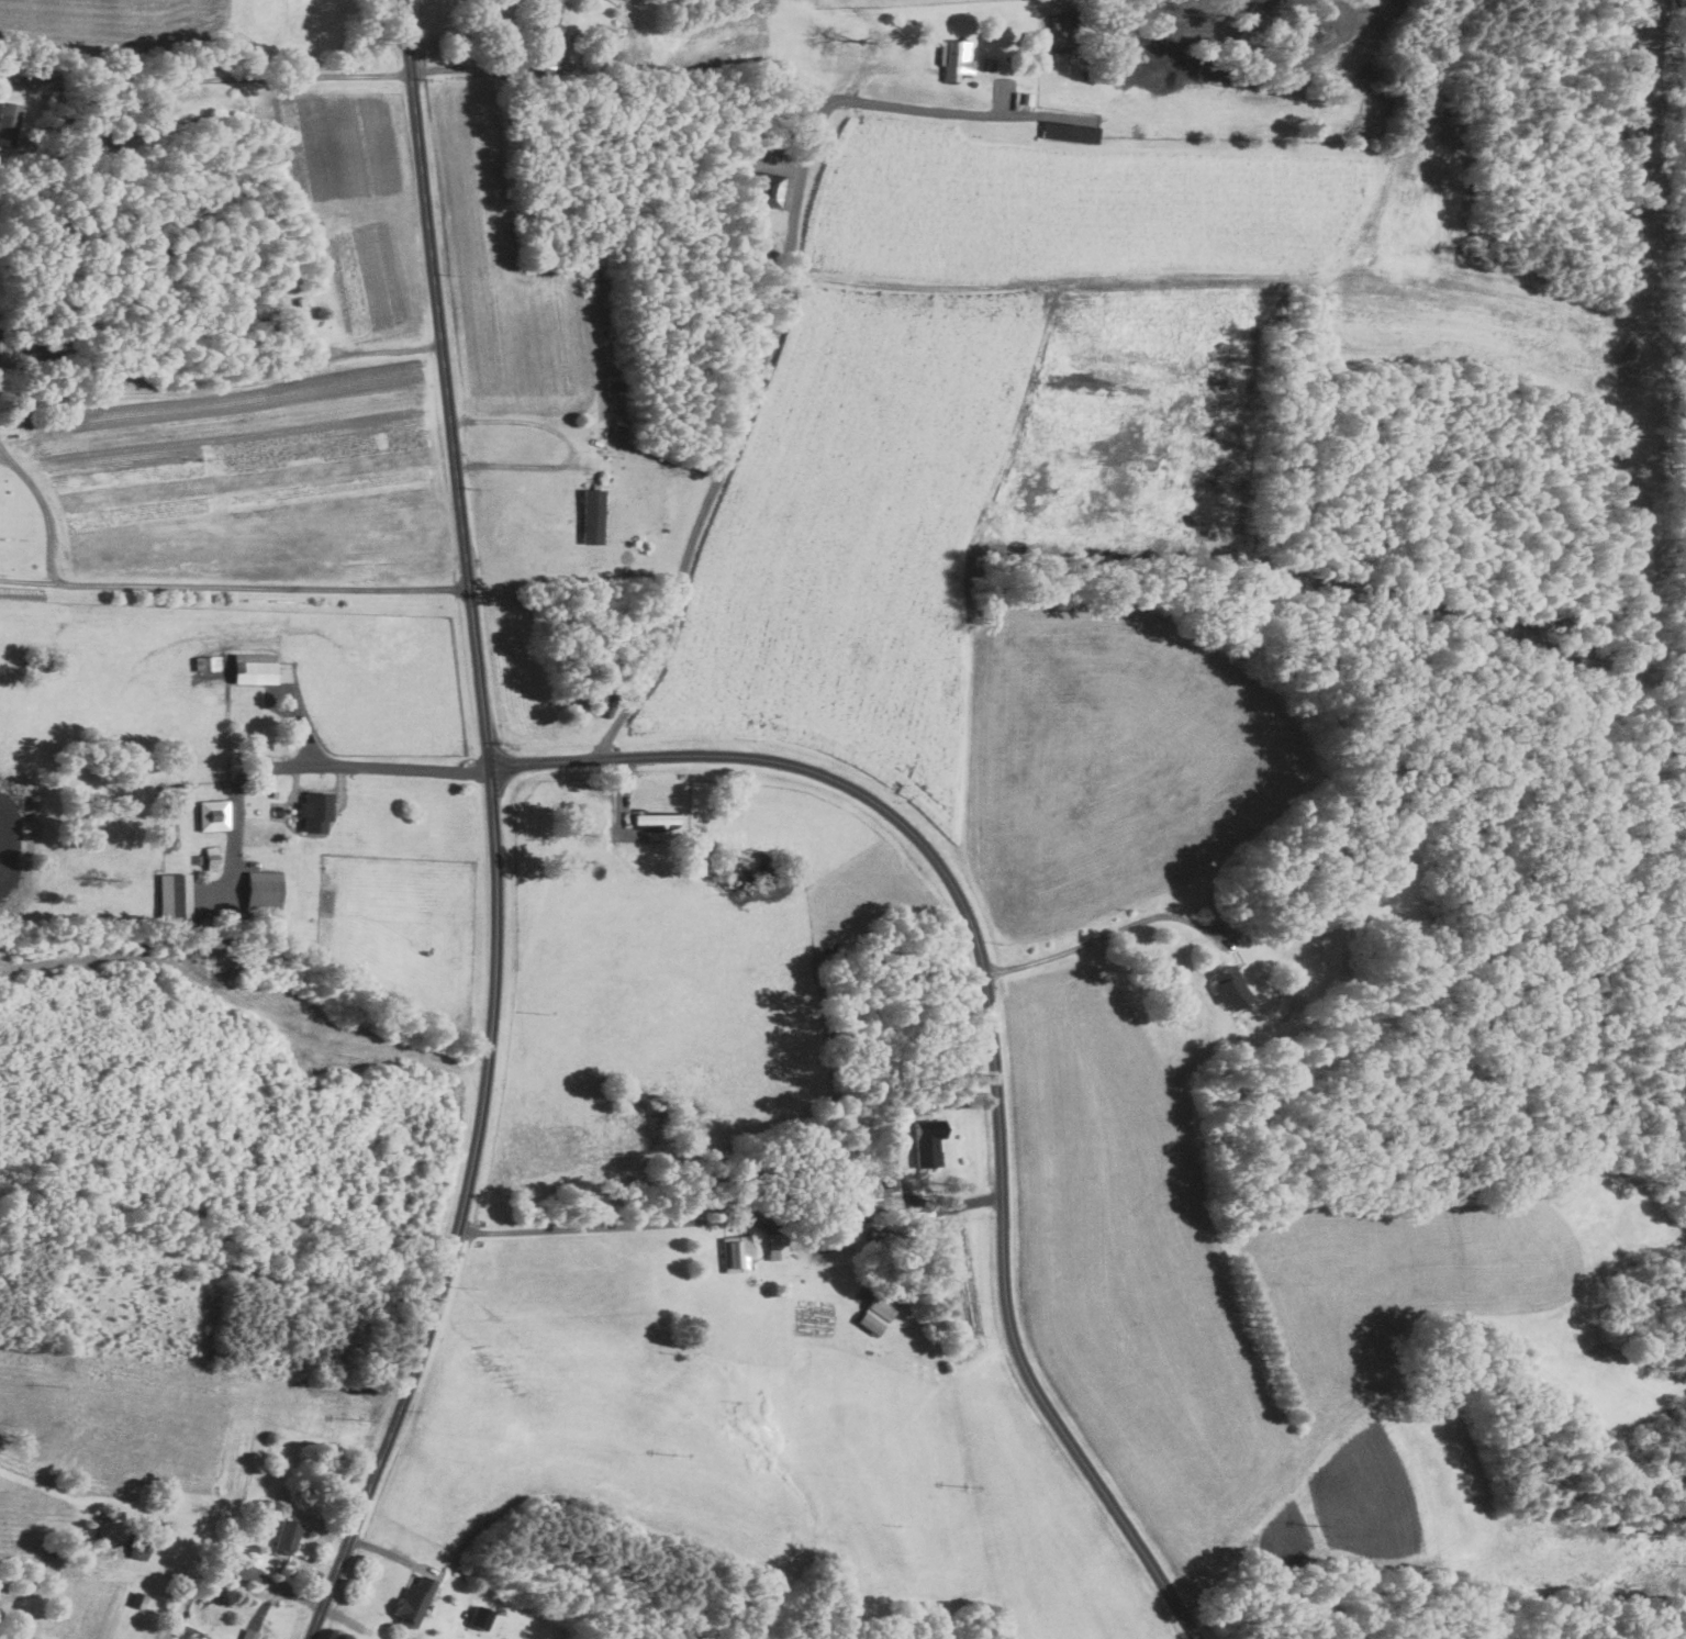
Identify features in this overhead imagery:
building: (549, 19)
building: (1061, 30)
building: (958, 60)
road: (487, 68)
road: (222, 79)
building: (9, 122)
building: (1071, 133)
building: (771, 189)
road: (768, 352)
road: (219, 388)
road: (569, 444)
road: (3, 454)
building: (594, 515)
road: (30, 581)
road: (192, 587)
building: (208, 662)
building: (255, 668)
road: (330, 766)
building: (316, 811)
building: (214, 815)
building: (657, 818)
road: (493, 832)
building: (213, 858)
building: (265, 890)
building: (176, 895)
road: (1102, 946)
building: (1231, 988)
road: (991, 1033)
building: (928, 1142)
building: (887, 1200)
road: (592, 1227)
building: (778, 1246)
building: (737, 1253)
building: (877, 1315)
building: (288, 1538)
building: (415, 1602)
building: (482, 1617)

